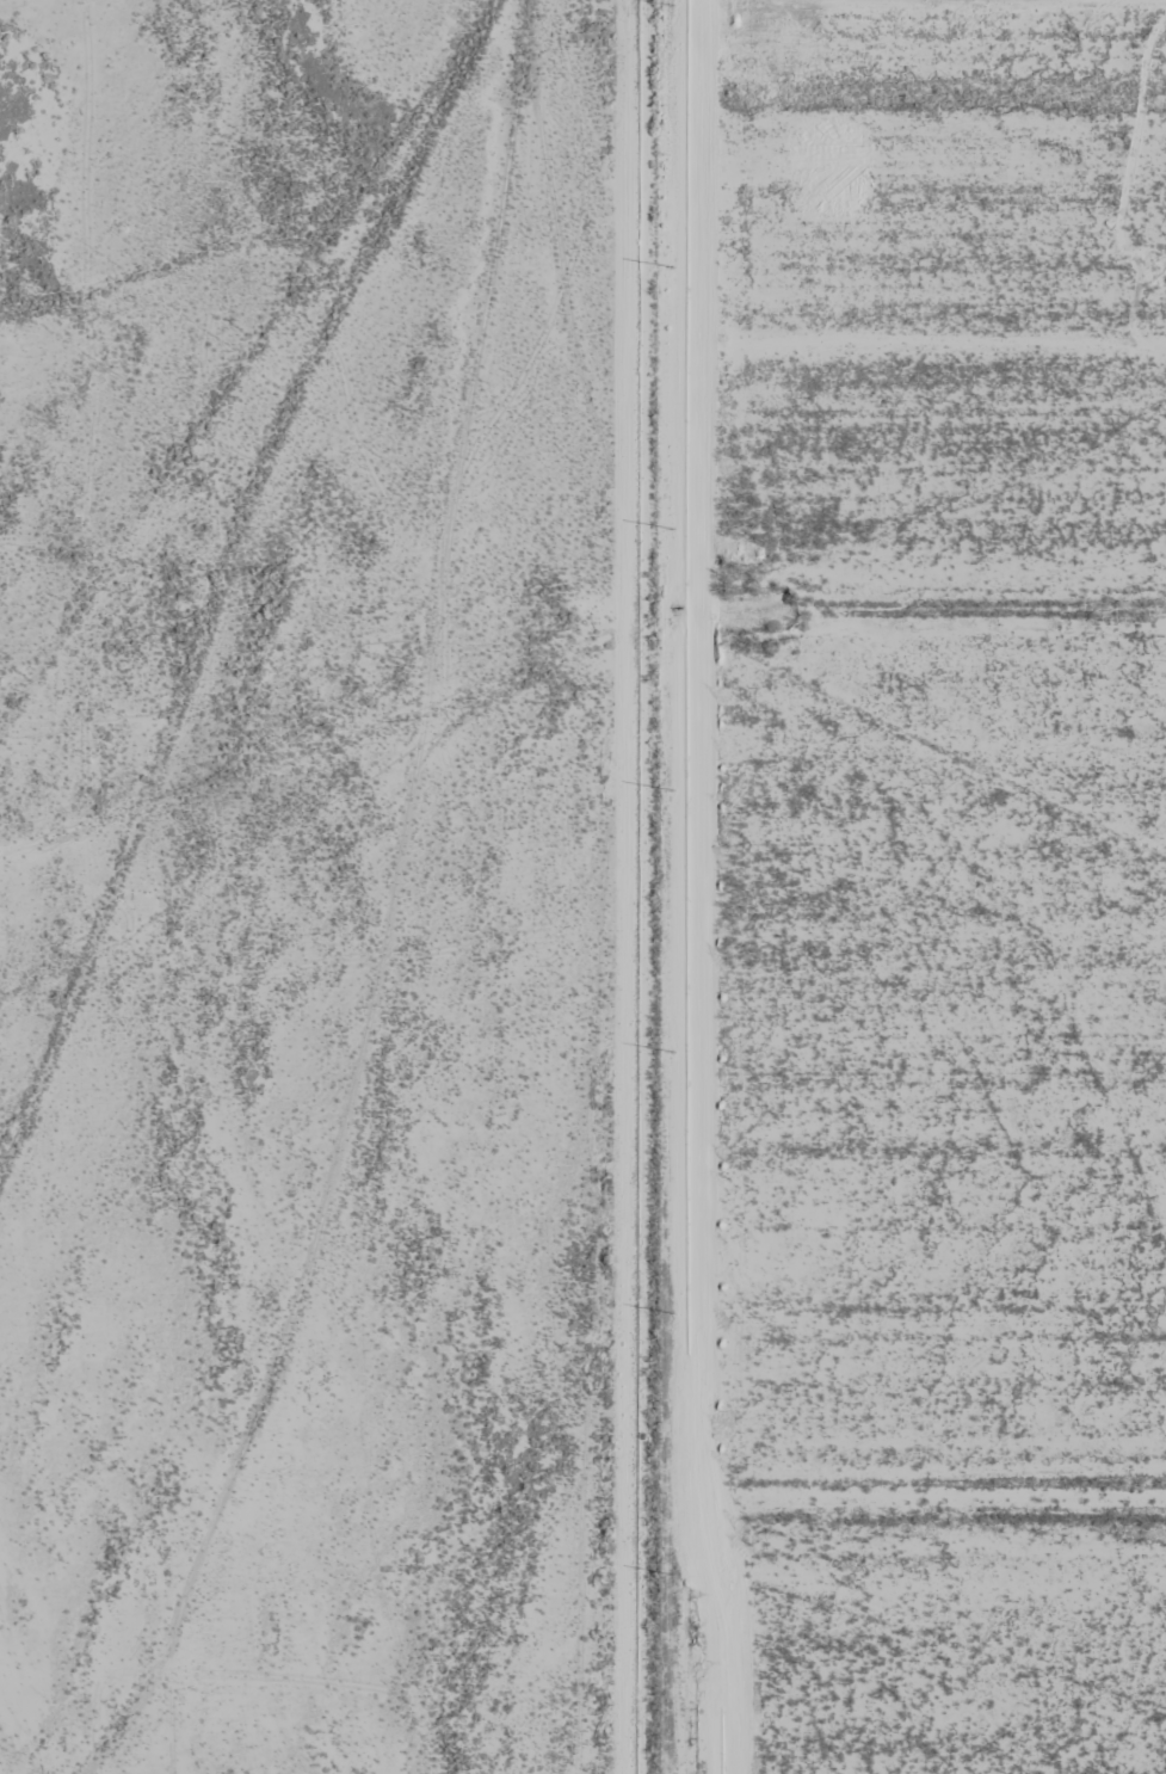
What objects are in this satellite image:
road: (218, 558)

